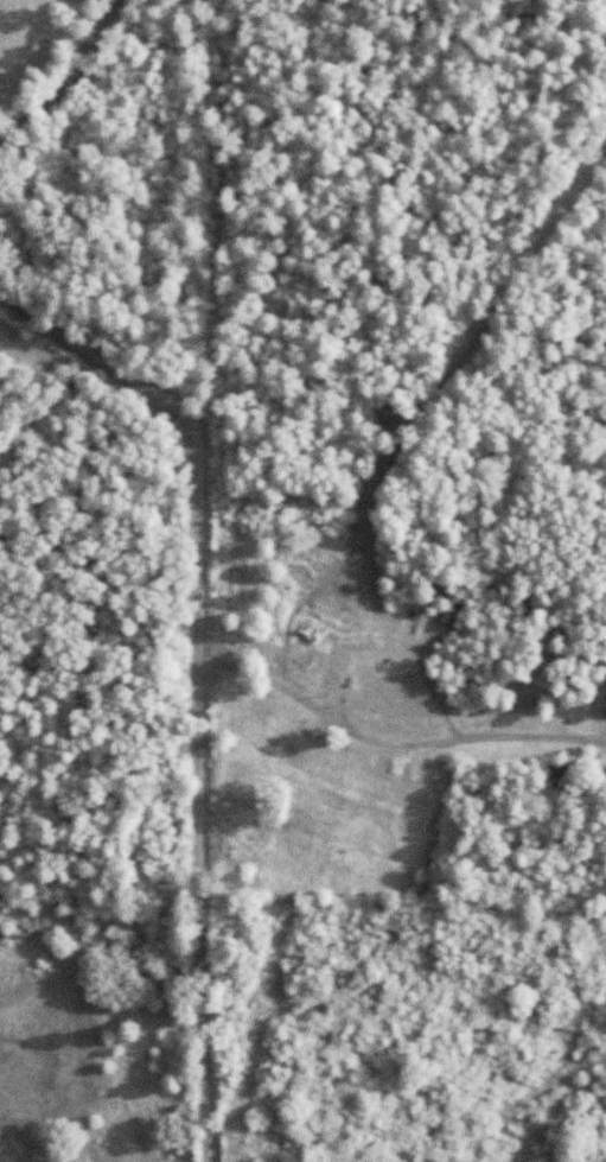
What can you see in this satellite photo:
road: (58, 76)
road: (198, 675)

